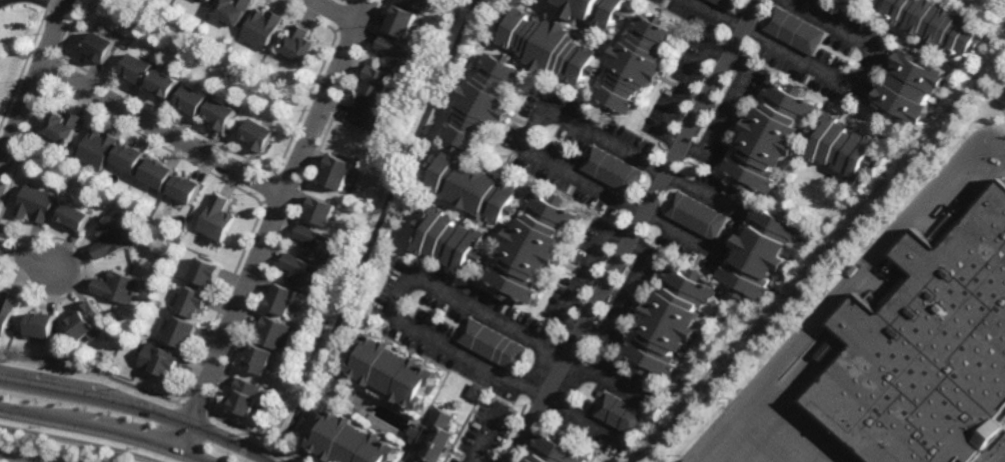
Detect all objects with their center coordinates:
building: (206, 1)
building: (858, 2)
building: (417, 3)
road: (54, 4)
building: (725, 4)
building: (594, 10)
building: (230, 11)
road: (333, 12)
building: (400, 22)
building: (935, 24)
building: (260, 29)
building: (793, 31)
building: (297, 45)
building: (546, 46)
building: (101, 48)
building: (396, 55)
road: (721, 55)
building: (632, 64)
building: (139, 70)
building: (375, 82)
road: (837, 82)
road: (34, 84)
building: (166, 86)
building: (911, 87)
building: (193, 100)
building: (480, 103)
building: (220, 115)
building: (368, 115)
building: (63, 128)
road: (163, 131)
building: (258, 136)
building: (769, 138)
road: (997, 145)
building: (842, 149)
building: (98, 150)
building: (131, 159)
road: (639, 160)
building: (611, 170)
building: (159, 174)
building: (337, 174)
building: (185, 188)
building: (472, 188)
road: (600, 189)
building: (35, 204)
building: (319, 211)
building: (75, 215)
building: (696, 215)
building: (216, 218)
road: (272, 225)
road: (375, 231)
road: (635, 231)
building: (113, 236)
building: (448, 241)
building: (315, 243)
building: (532, 245)
building: (761, 252)
road: (26, 258)
building: (205, 270)
building: (301, 272)
building: (117, 286)
road: (429, 286)
road: (835, 297)
building: (281, 298)
building: (193, 300)
building: (7, 309)
building: (87, 320)
building: (669, 322)
building: (42, 323)
building: (181, 330)
building: (273, 333)
road: (601, 340)
building: (492, 344)
building: (926, 350)
building: (256, 358)
building: (159, 360)
building: (394, 370)
building: (340, 392)
building: (477, 392)
building: (242, 396)
road: (139, 407)
building: (621, 414)
road: (586, 419)
road: (102, 429)
road: (484, 435)
building: (433, 438)
building: (350, 441)
building: (559, 449)
road: (21, 457)
road: (481, 458)
road: (1001, 458)
building: (867, 461)

